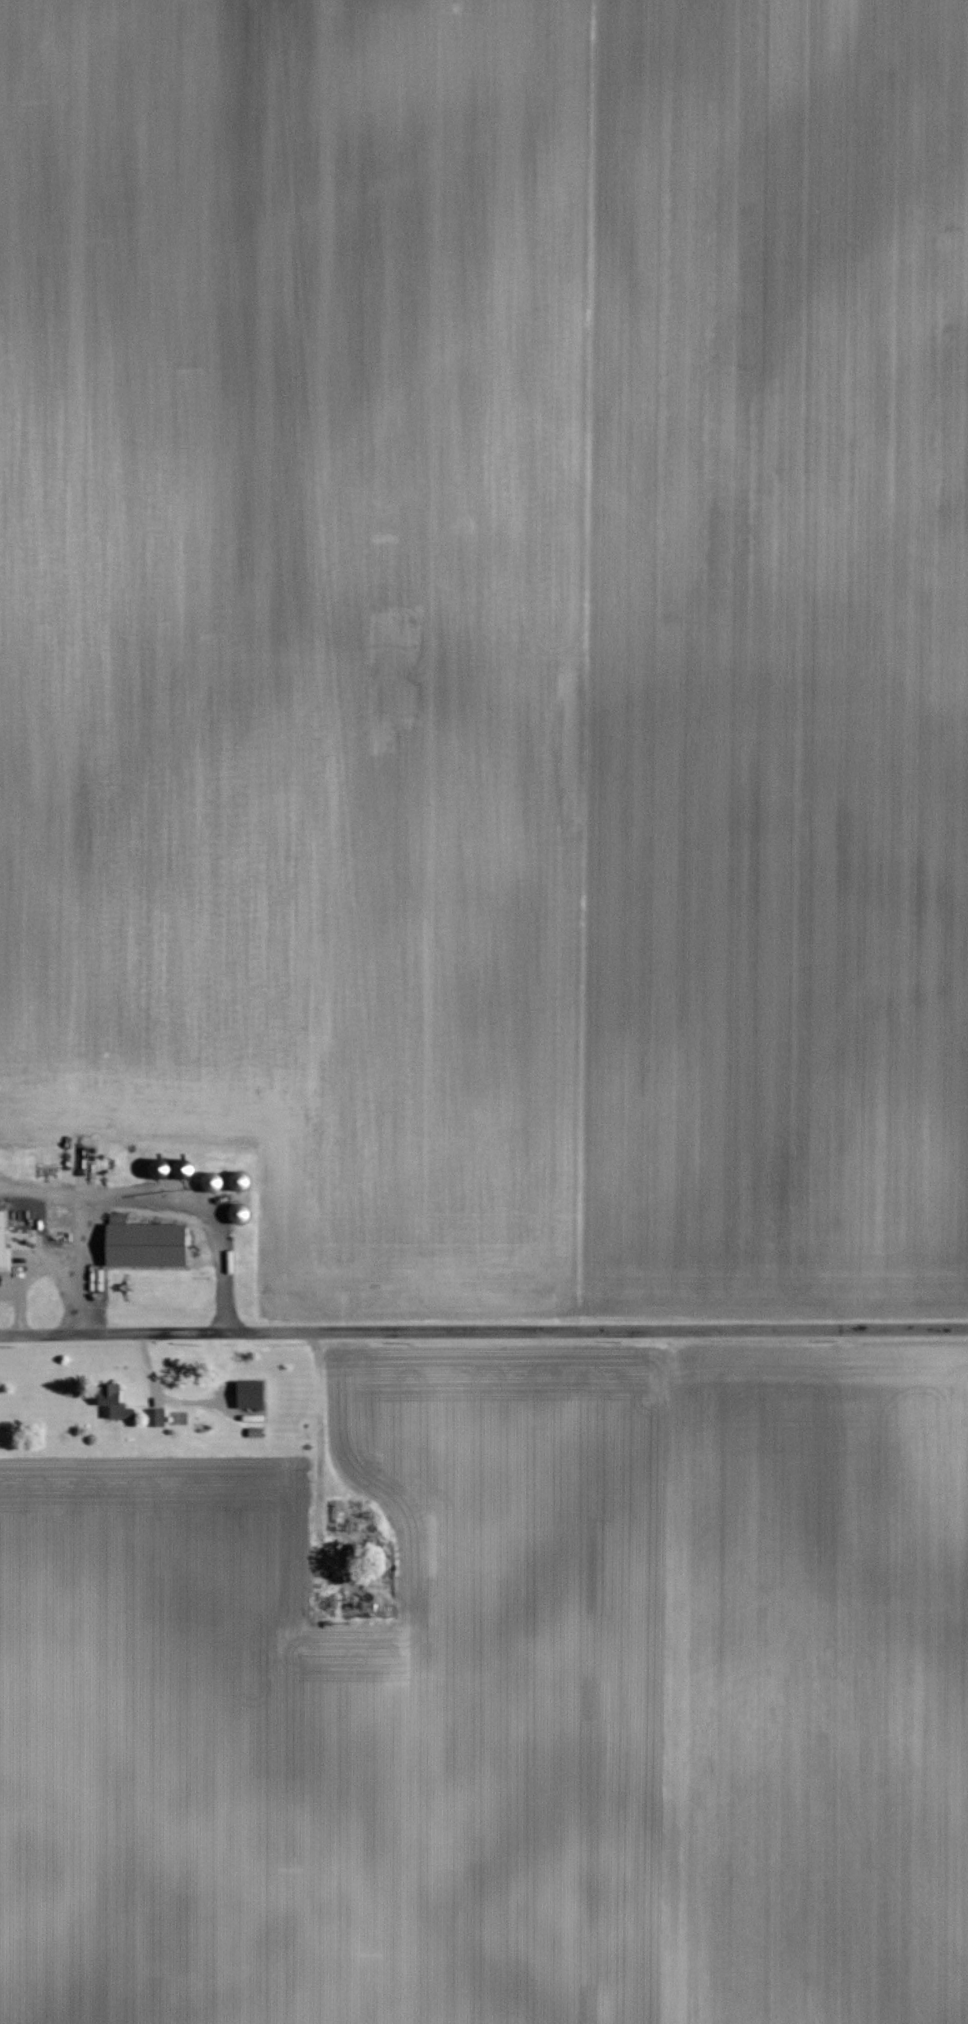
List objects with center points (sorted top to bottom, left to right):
building: (211, 1183)
building: (238, 1183)
road: (147, 1206)
building: (237, 1214)
building: (146, 1246)
road: (31, 1263)
road: (20, 1310)
road: (483, 1331)
building: (250, 1395)
road: (158, 1398)
building: (114, 1402)
building: (155, 1418)

